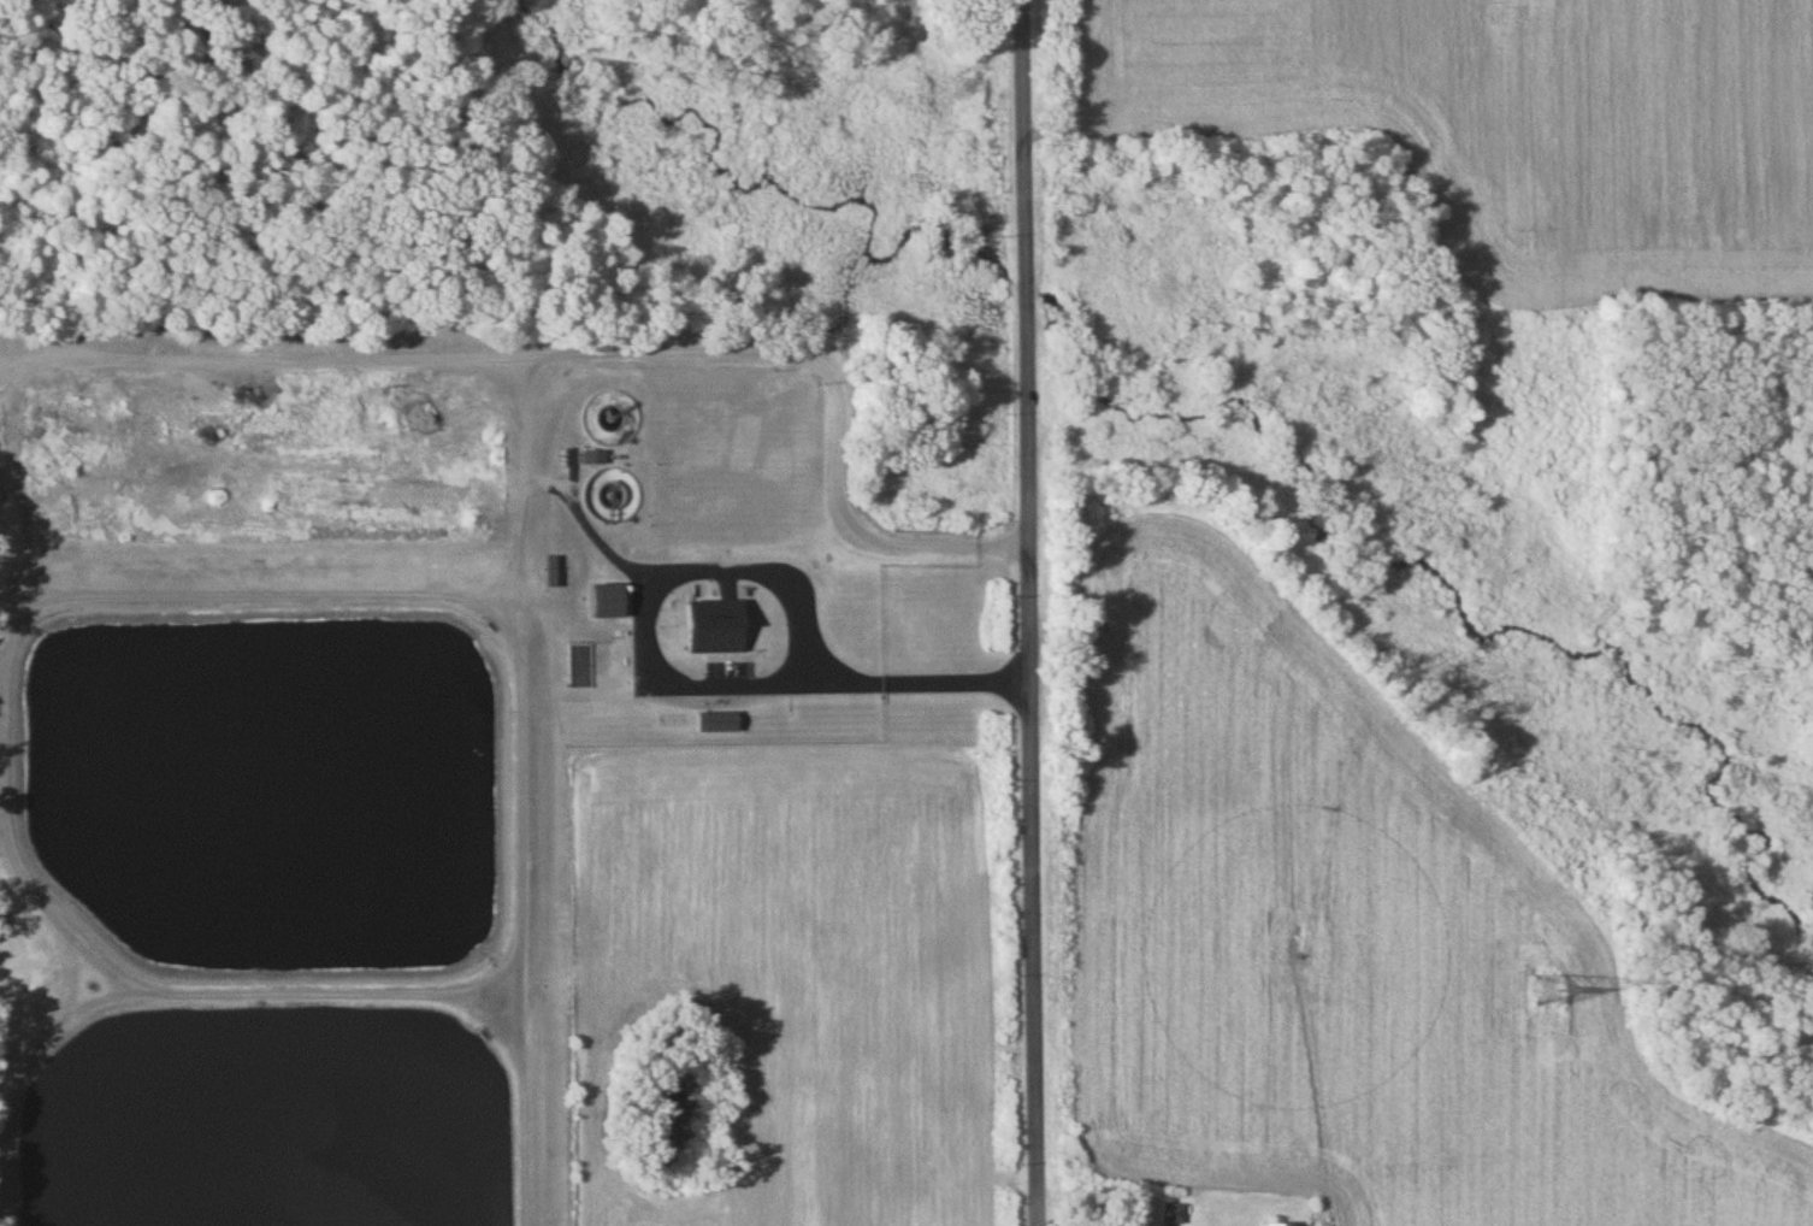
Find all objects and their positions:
road: (593, 354)
building: (591, 459)
road: (524, 488)
building: (612, 503)
building: (602, 601)
road: (1032, 612)
building: (710, 627)
road: (672, 677)
road: (0, 690)
building: (711, 723)
road: (516, 920)
power tower: (1546, 988)
building: (1170, 1215)
building: (1262, 1225)

